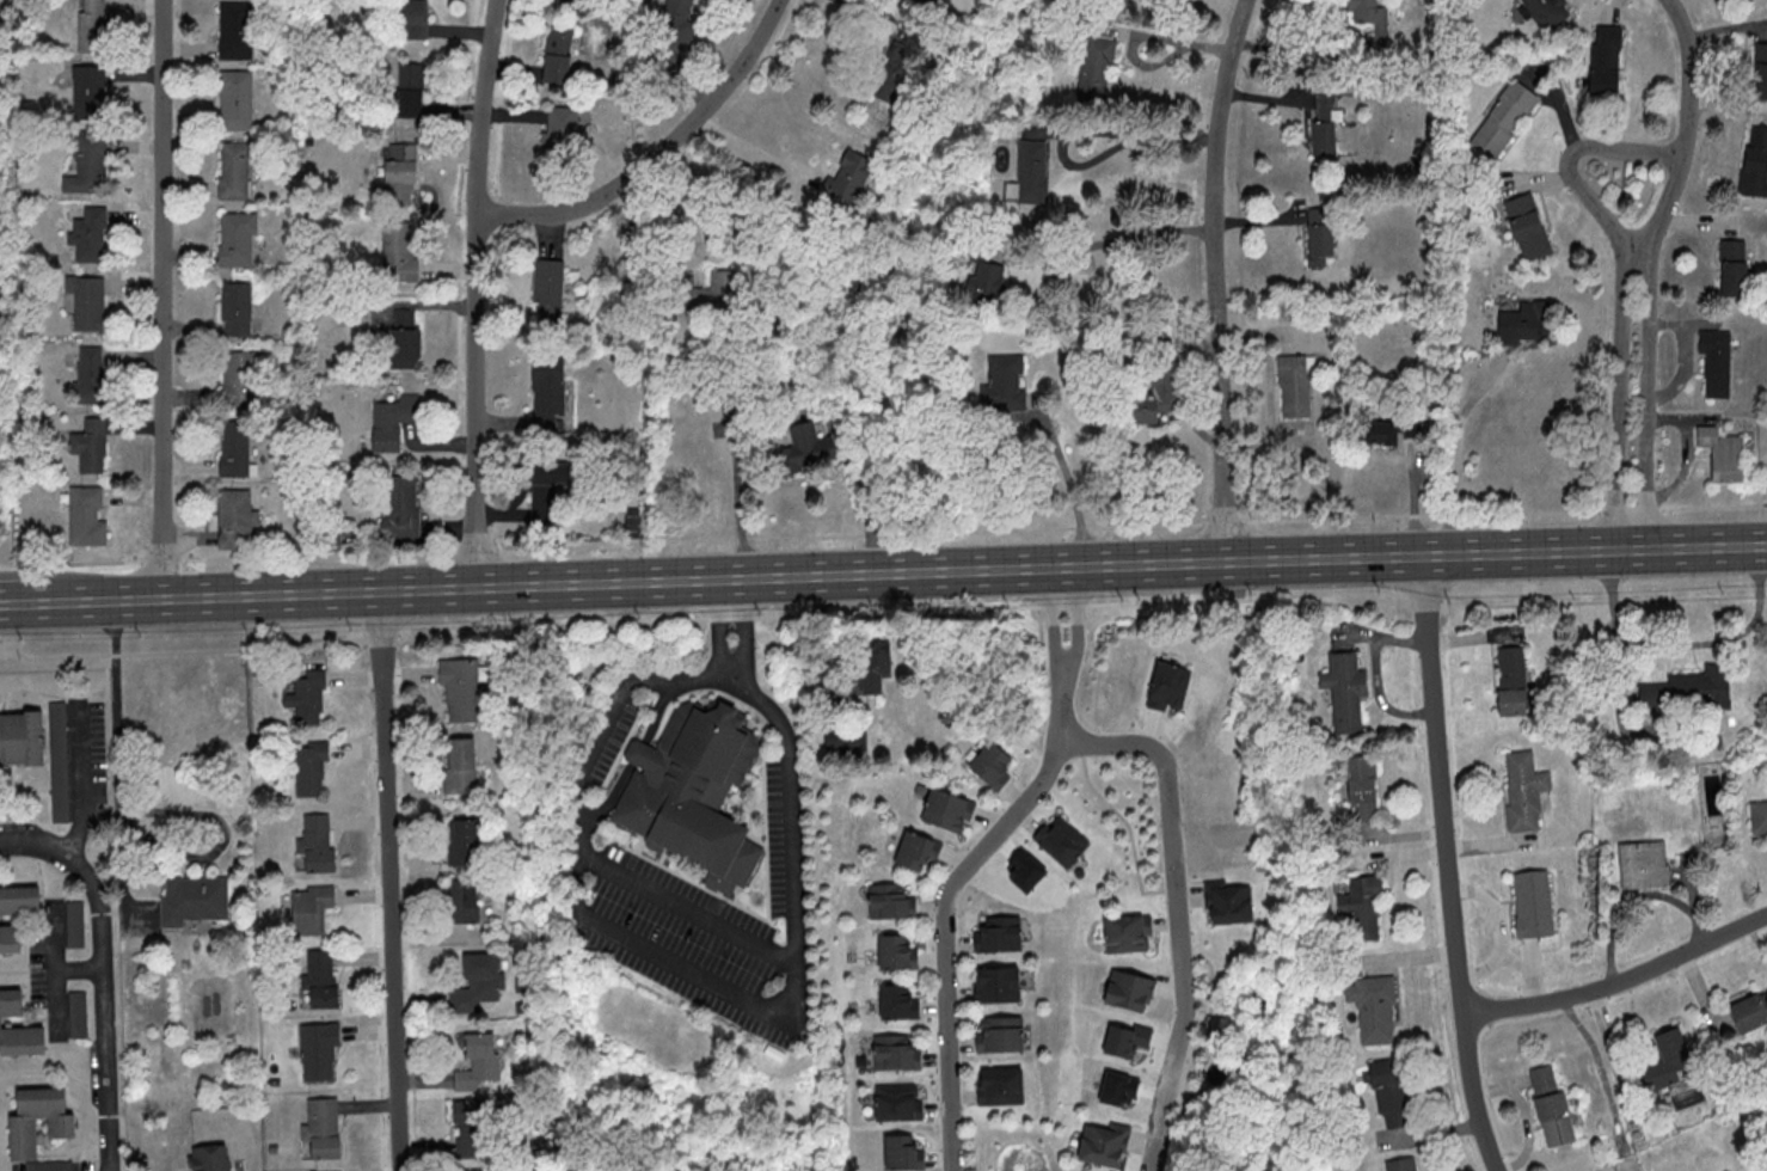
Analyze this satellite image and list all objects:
building: (933, 0)
building: (1743, 0)
building: (1546, 12)
building: (1370, 17)
building: (415, 19)
building: (676, 22)
building: (92, 25)
building: (237, 30)
road: (1295, 50)
building: (559, 53)
building: (1606, 60)
building: (1097, 66)
building: (1760, 72)
building: (411, 90)
building: (237, 100)
building: (1504, 118)
building: (1324, 125)
road: (1086, 129)
building: (563, 131)
road: (754, 147)
road: (658, 153)
road: (1569, 160)
building: (88, 163)
building: (1755, 163)
building: (234, 170)
building: (401, 172)
building: (1032, 172)
building: (849, 176)
building: (1527, 226)
building: (91, 235)
building: (1320, 235)
road: (1127, 237)
building: (239, 239)
building: (399, 251)
road: (1636, 266)
building: (1732, 268)
road: (1217, 280)
building: (986, 283)
building: (548, 290)
building: (717, 290)
road: (479, 293)
road: (165, 299)
building: (86, 301)
building: (237, 308)
building: (1526, 320)
building: (406, 339)
building: (1716, 361)
building: (90, 374)
building: (240, 378)
building: (1005, 384)
building: (1294, 386)
building: (1155, 388)
building: (548, 396)
building: (389, 424)
building: (1391, 429)
building: (91, 445)
building: (235, 448)
building: (806, 449)
building: (1723, 453)
road: (1069, 486)
building: (545, 490)
building: (401, 505)
road: (867, 507)
road: (742, 515)
building: (87, 516)
building: (235, 517)
road: (883, 534)
road: (901, 572)
road: (18, 602)
road: (883, 611)
road: (1681, 643)
road: (1063, 651)
building: (870, 666)
road: (1376, 673)
building: (1511, 680)
building: (1168, 686)
building: (460, 687)
building: (1691, 689)
building: (1345, 691)
building: (308, 699)
building: (57, 719)
building: (22, 737)
building: (461, 765)
building: (993, 767)
building: (312, 770)
road: (82, 779)
building: (1362, 787)
building: (1524, 790)
building: (694, 793)
road: (135, 811)
building: (947, 813)
building: (1759, 816)
building: (464, 841)
building: (1062, 841)
building: (318, 844)
road: (36, 845)
building: (918, 852)
building: (1644, 864)
road: (1449, 865)
road: (393, 881)
building: (194, 899)
building: (20, 900)
building: (465, 900)
building: (1227, 902)
building: (890, 903)
building: (1533, 903)
building: (1363, 906)
building: (311, 909)
road: (1178, 909)
road: (944, 933)
building: (1128, 933)
building: (999, 934)
building: (10, 939)
building: (897, 955)
building: (321, 977)
road: (1621, 981)
building: (479, 982)
road: (726, 983)
building: (998, 985)
building: (1130, 991)
building: (898, 1003)
building: (1375, 1007)
road: (105, 1008)
building: (1750, 1012)
building: (78, 1013)
building: (18, 1028)
building: (1000, 1034)
building: (320, 1050)
building: (897, 1053)
building: (478, 1061)
building: (1668, 1061)
building: (1001, 1086)
building: (1391, 1093)
building: (898, 1102)
building: (1551, 1104)
building: (24, 1127)
building: (323, 1127)
building: (472, 1128)
building: (1105, 1144)
building: (903, 1153)
building: (211, 1157)
building: (1403, 1164)
building: (472, 1169)

